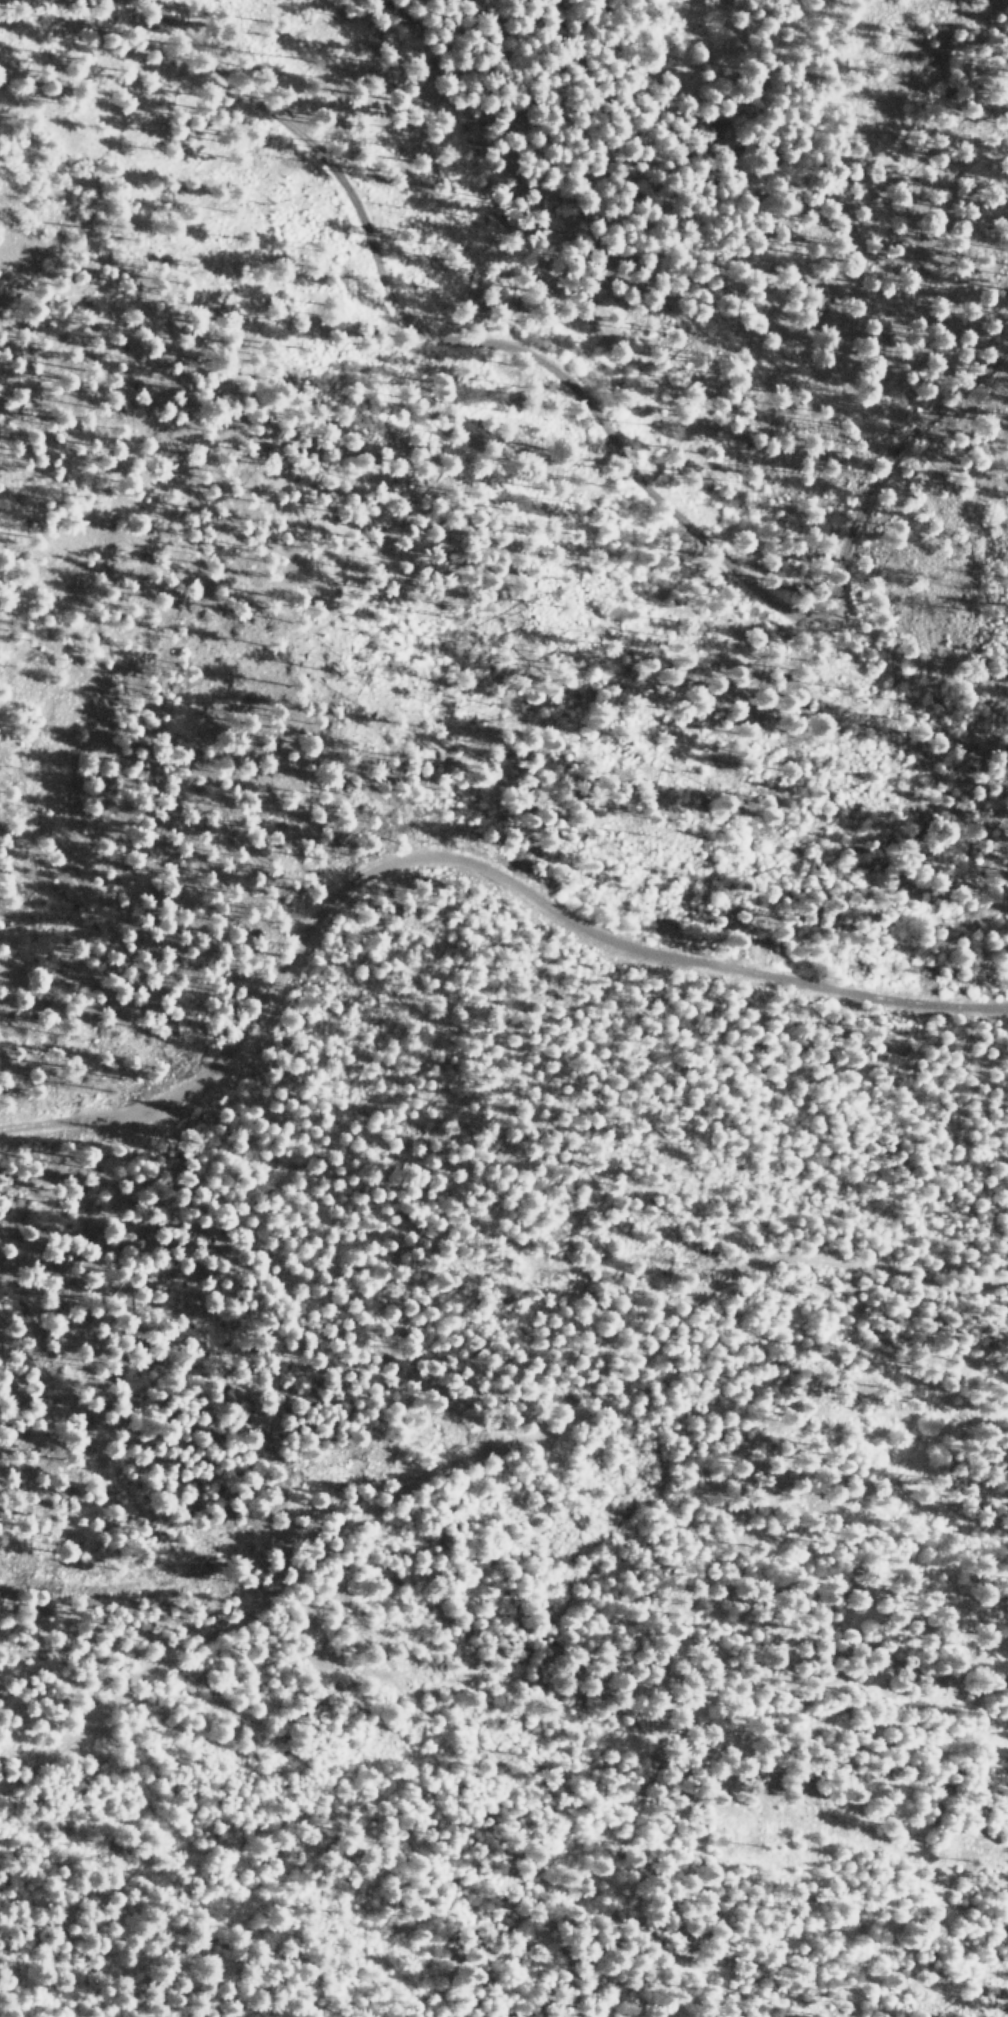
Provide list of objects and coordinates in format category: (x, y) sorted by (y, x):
road: (607, 419)
road: (461, 863)
road: (487, 1458)

